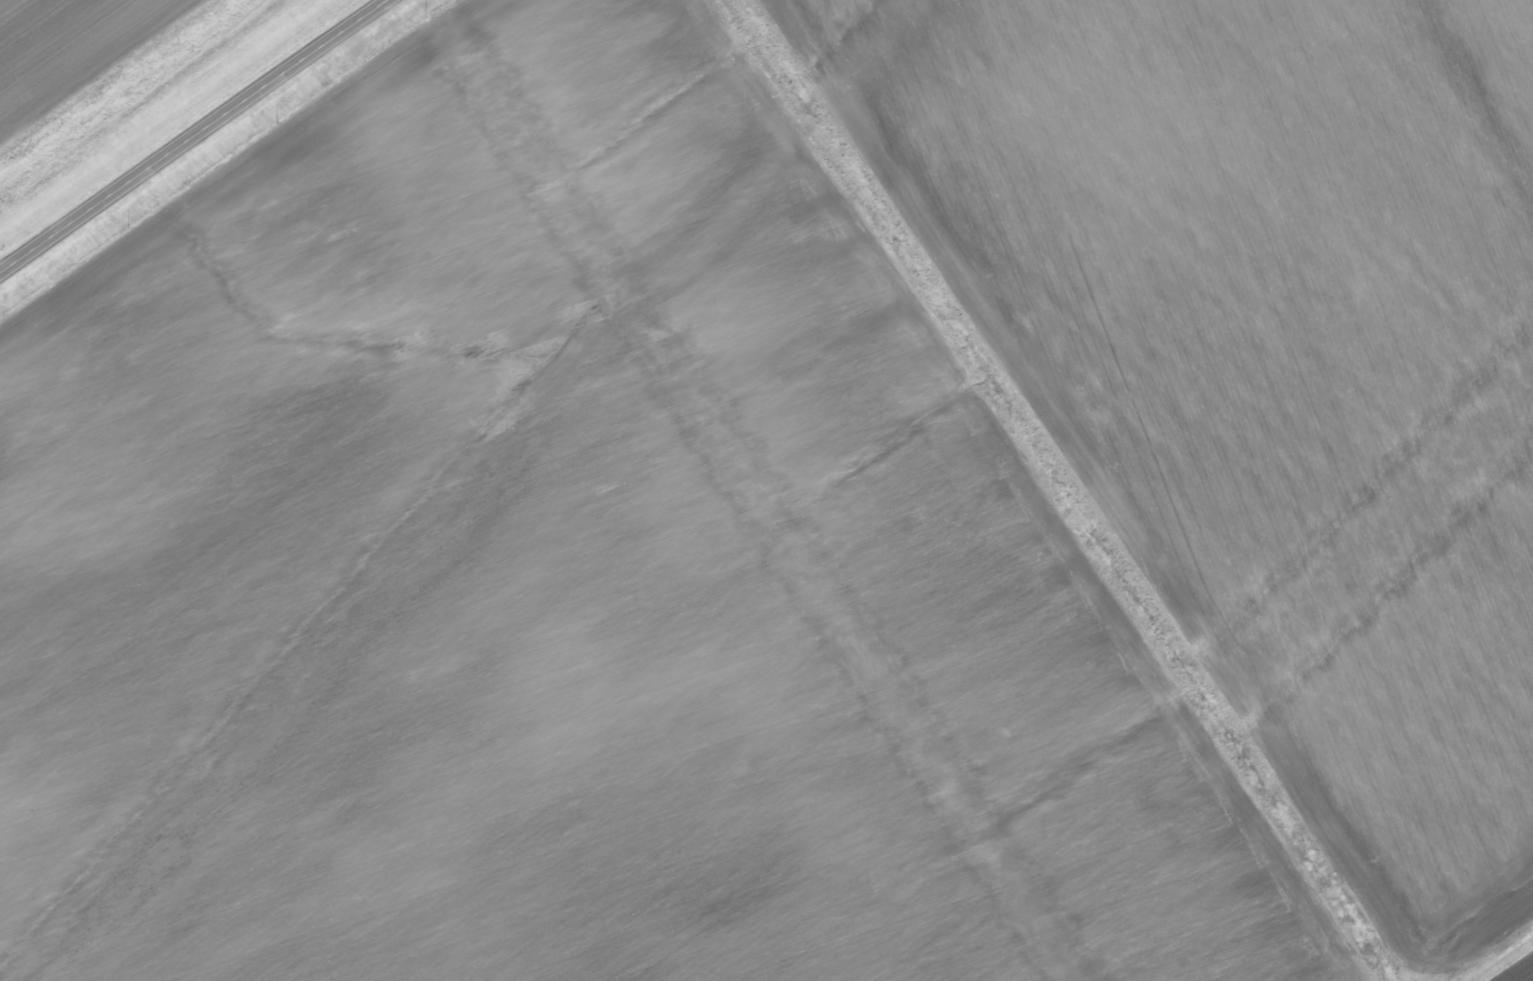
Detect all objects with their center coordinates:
road: (193, 133)

